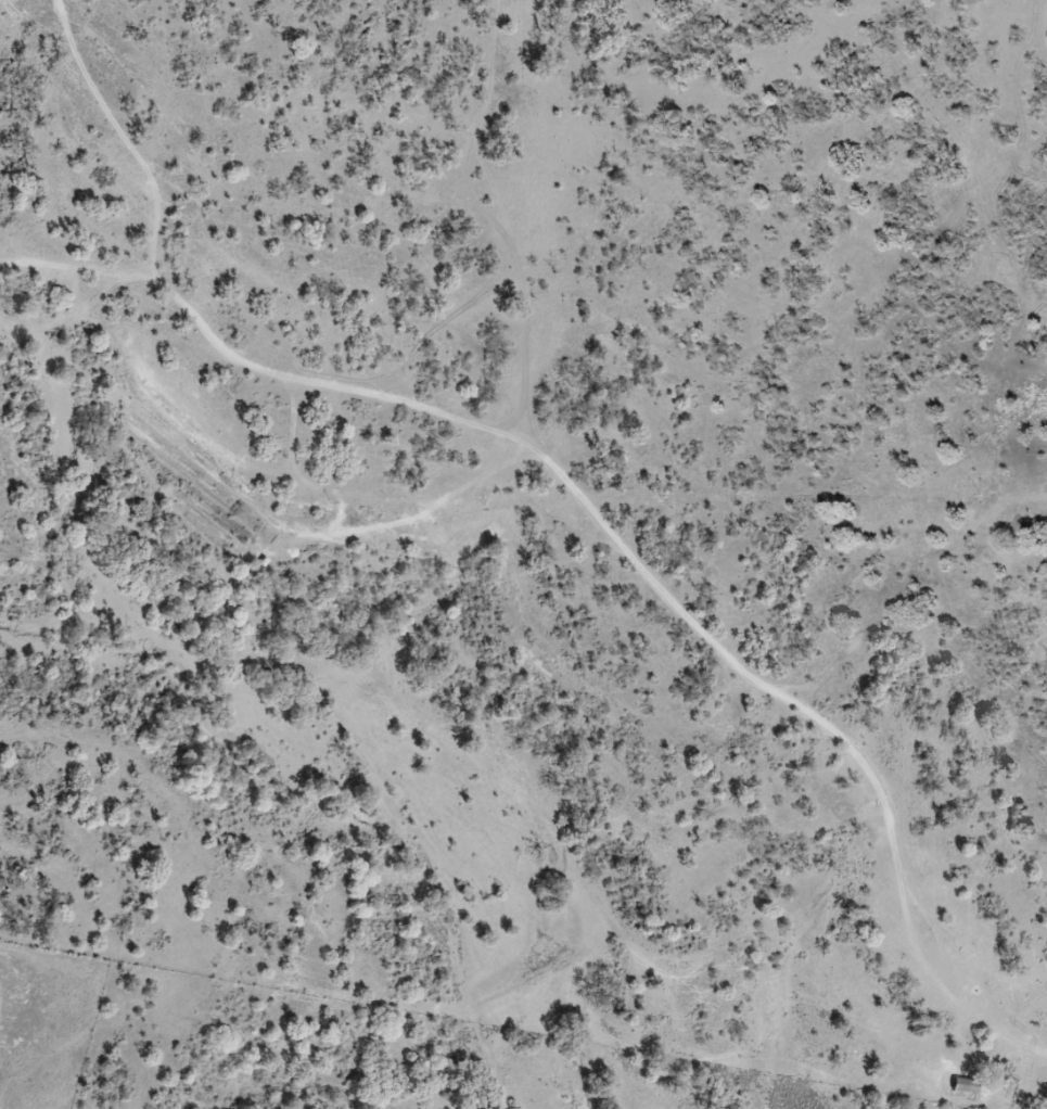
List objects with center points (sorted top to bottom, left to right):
building: (967, 1085)

